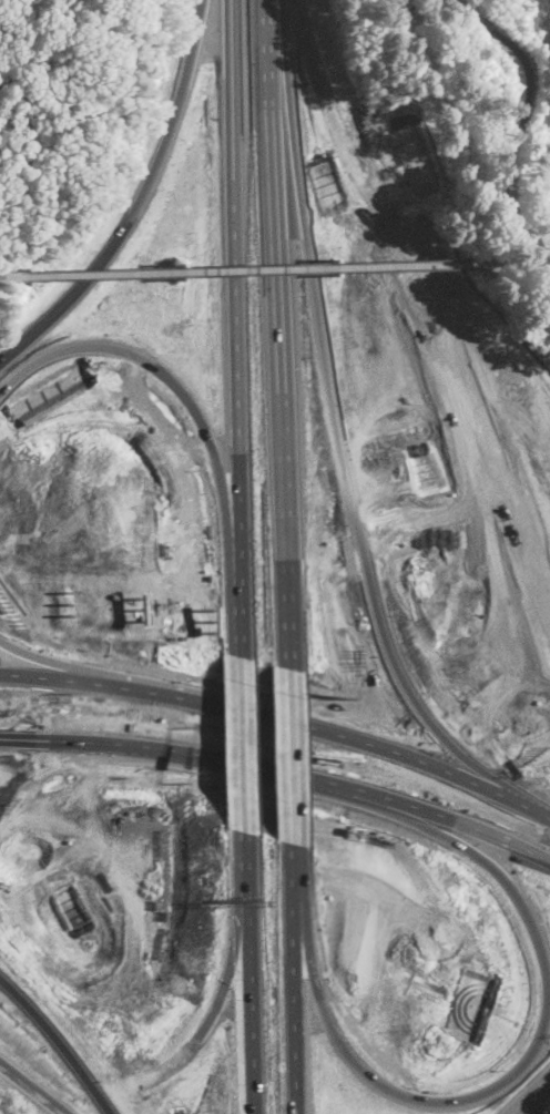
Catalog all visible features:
road: (467, 14)
park: (49, 99)
park: (507, 103)
road: (518, 140)
road: (139, 202)
road: (548, 260)
road: (523, 262)
road: (254, 268)
road: (3, 275)
road: (236, 328)
road: (279, 335)
road: (198, 419)
road: (352, 511)
road: (80, 671)
road: (82, 684)
road: (103, 742)
road: (242, 744)
road: (358, 753)
road: (291, 756)
road: (276, 774)
road: (448, 819)
road: (249, 972)
road: (294, 979)
road: (509, 1075)
road: (32, 1086)
road: (532, 1097)

